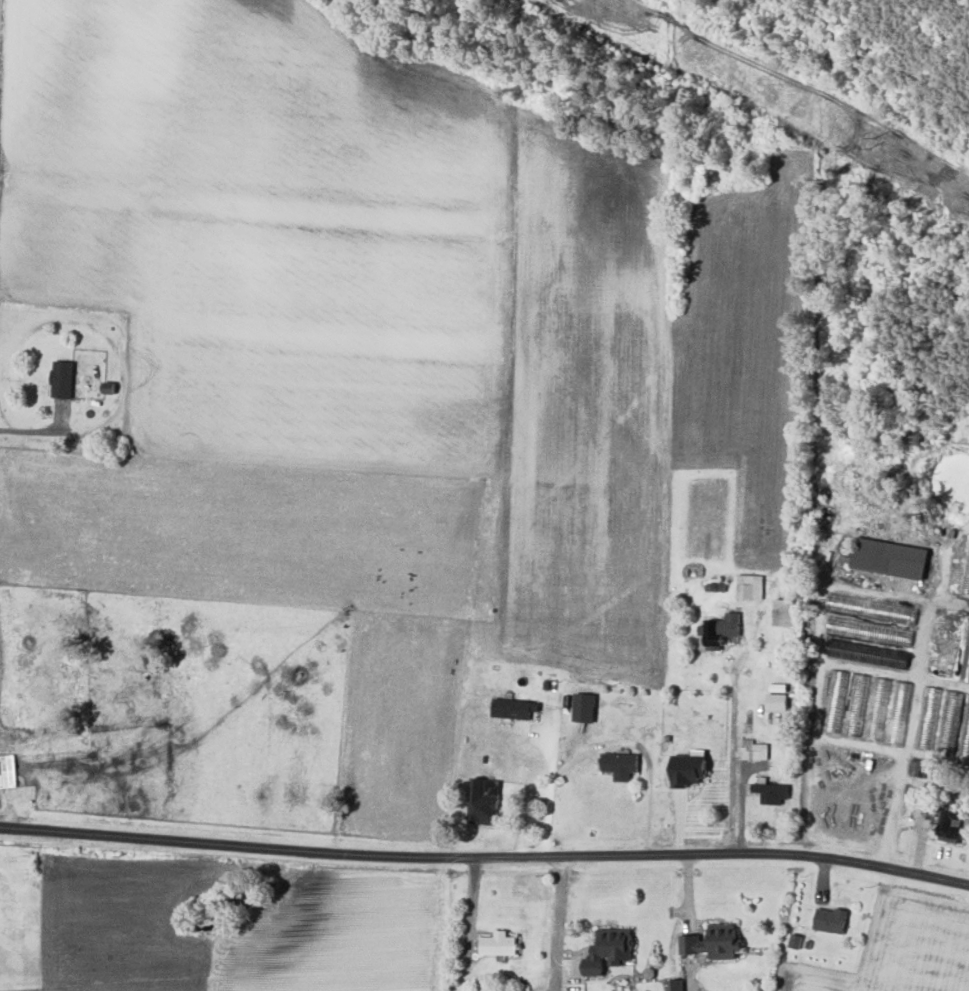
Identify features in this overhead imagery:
power tower: (876, 144)
building: (63, 379)
building: (891, 558)
building: (966, 579)
building: (751, 587)
road: (950, 603)
building: (787, 608)
building: (721, 630)
building: (837, 701)
building: (778, 702)
building: (514, 707)
building: (585, 707)
road: (913, 718)
building: (928, 718)
road: (607, 742)
building: (754, 750)
road: (732, 761)
building: (621, 764)
building: (690, 768)
building: (7, 770)
building: (772, 790)
building: (486, 800)
road: (743, 804)
road: (524, 815)
building: (954, 824)
road: (485, 859)
road: (558, 919)
building: (831, 919)
building: (715, 942)
building: (499, 943)
building: (610, 949)
building: (675, 984)

